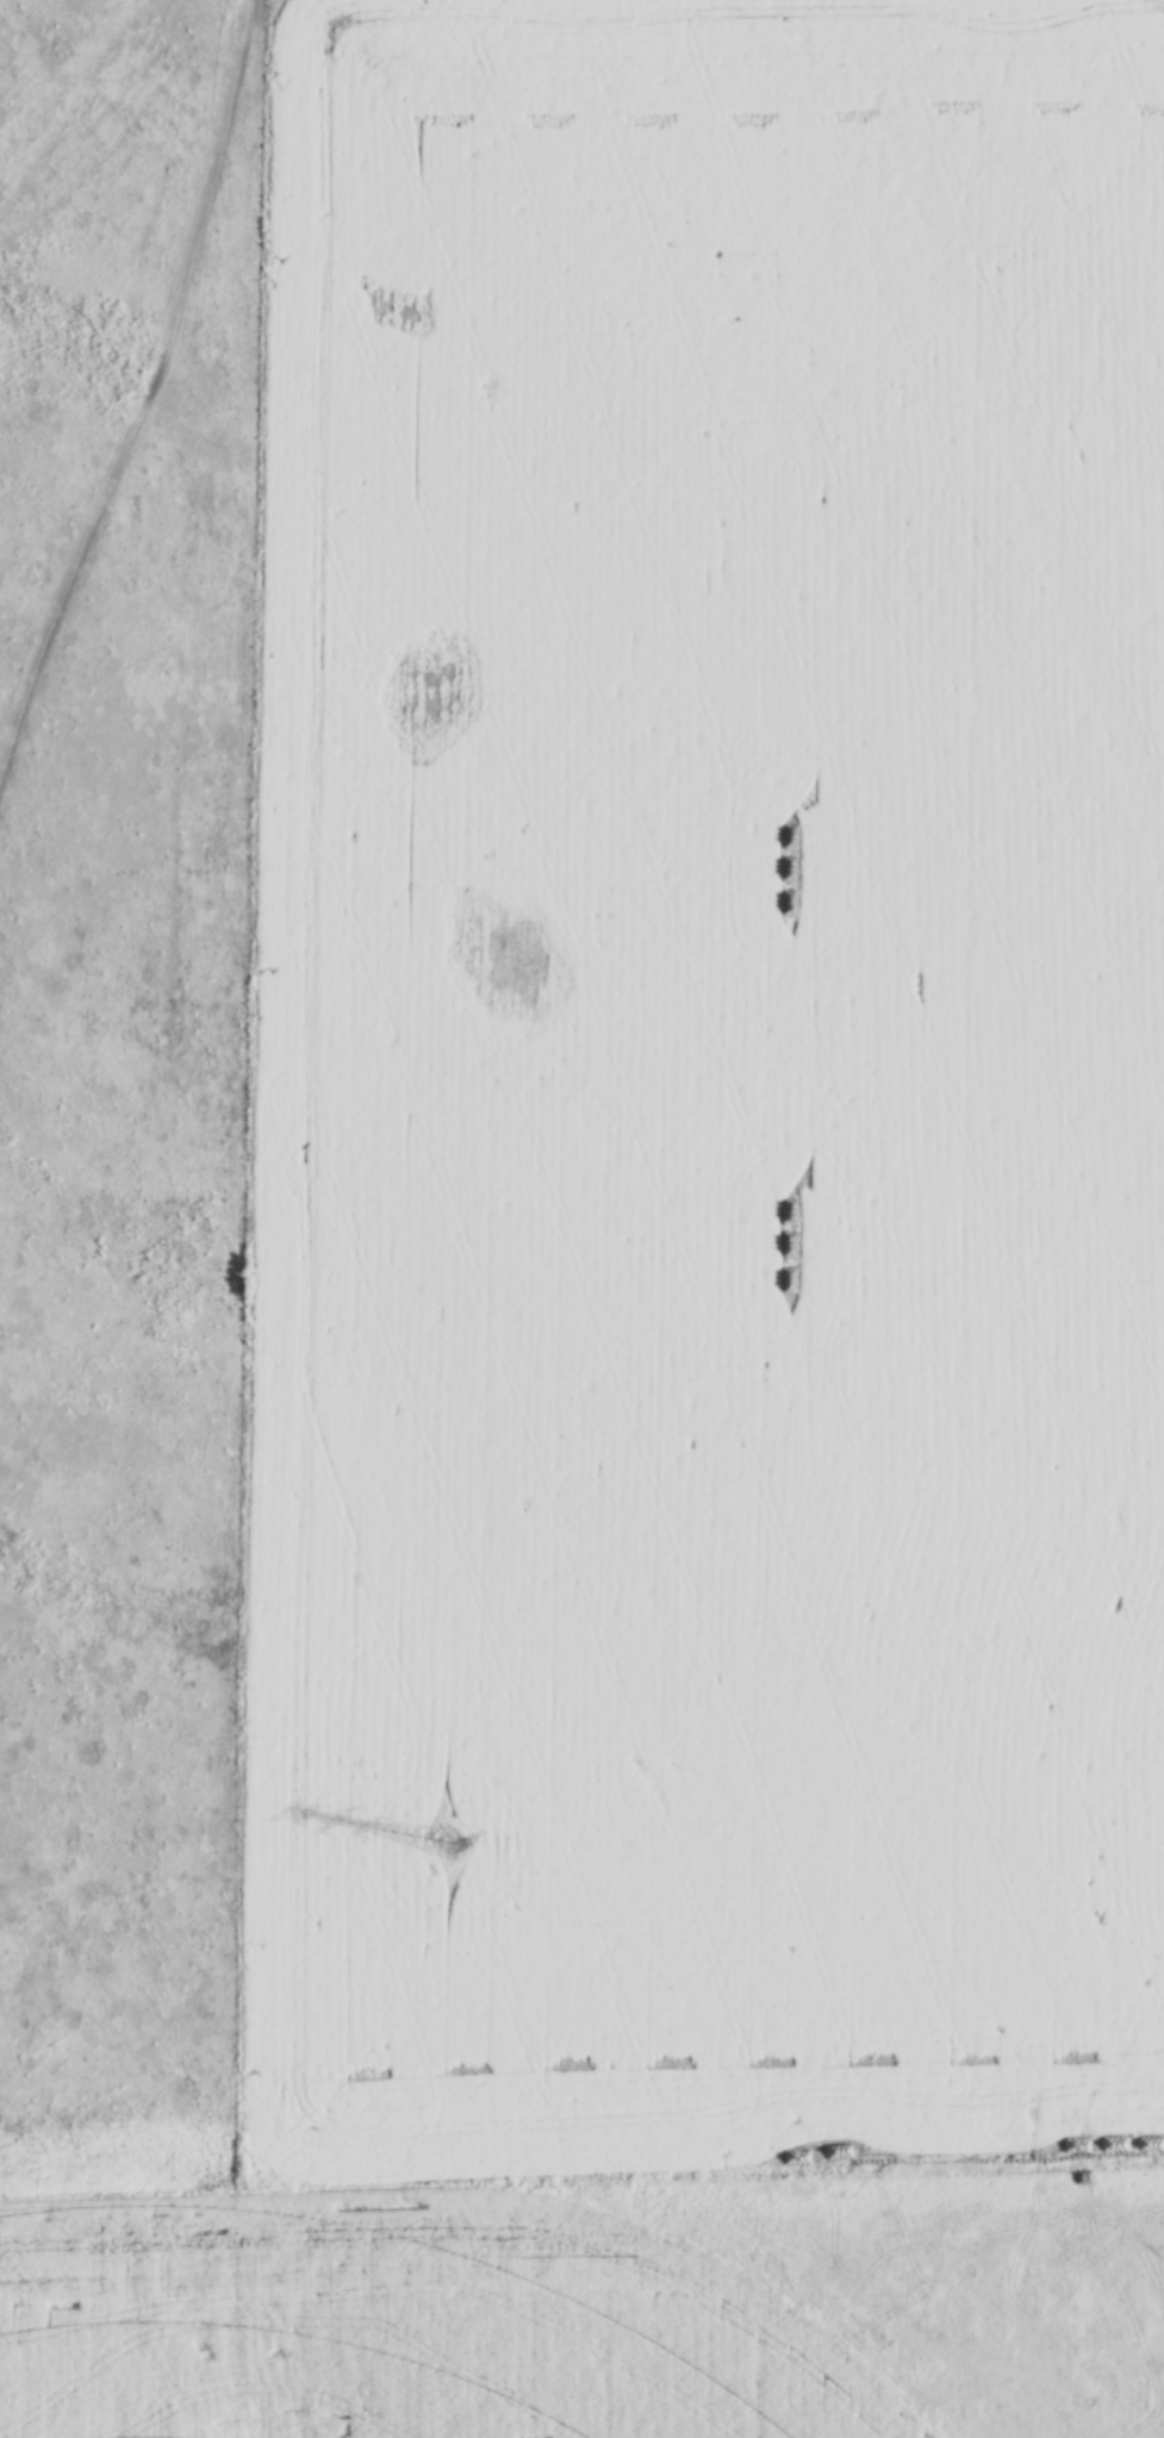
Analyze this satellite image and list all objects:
power tower: (442, 1845)

